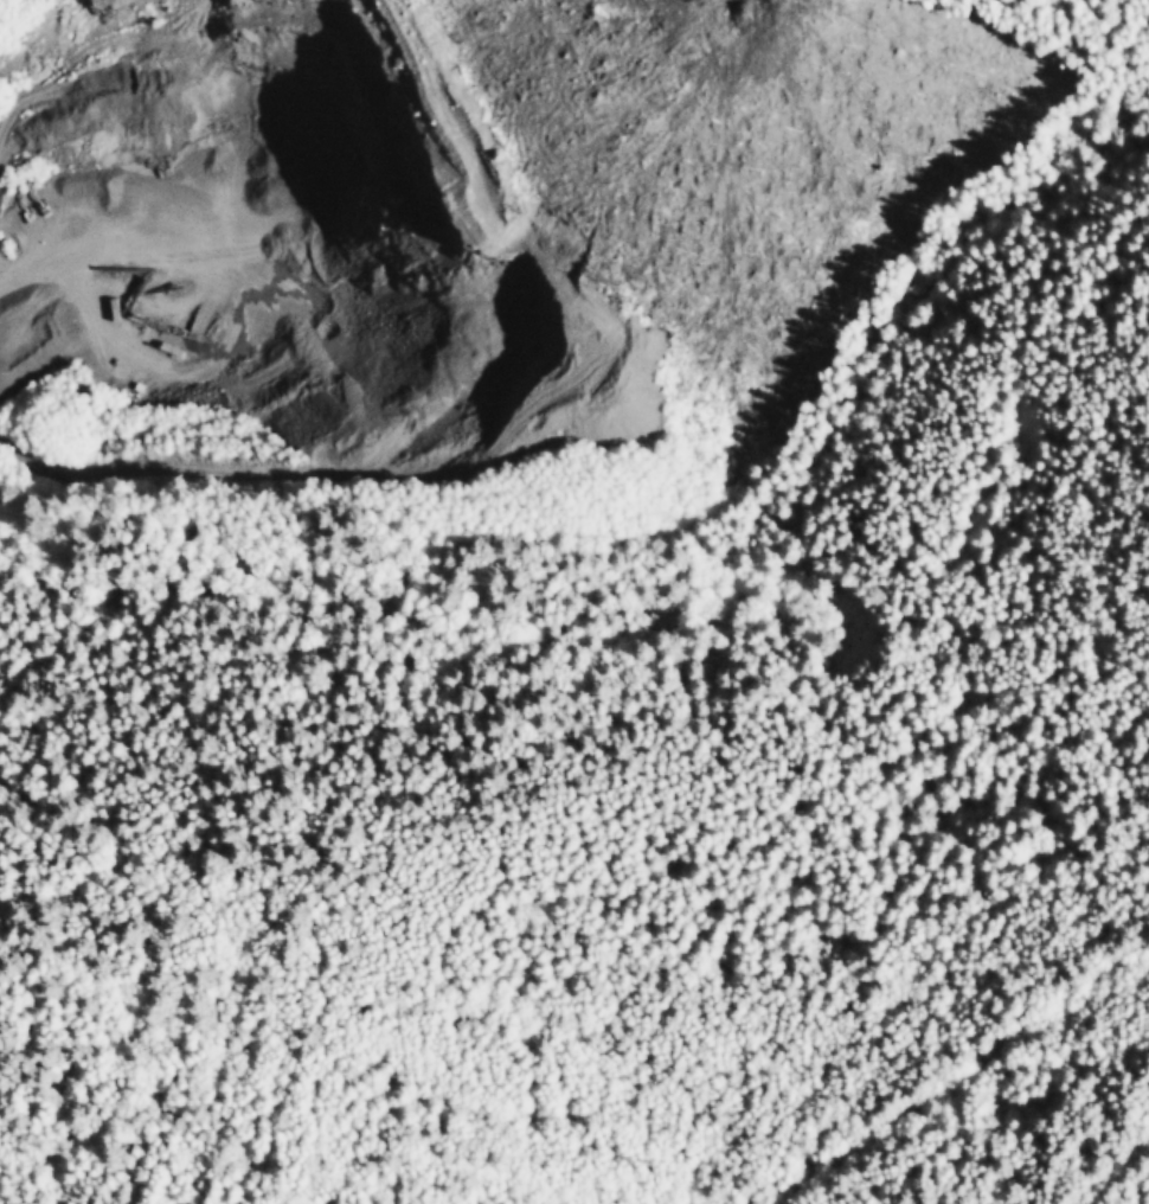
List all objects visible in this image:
road: (248, 248)
quarry: (278, 260)
road: (30, 265)
road: (955, 1069)
road: (1112, 1173)

